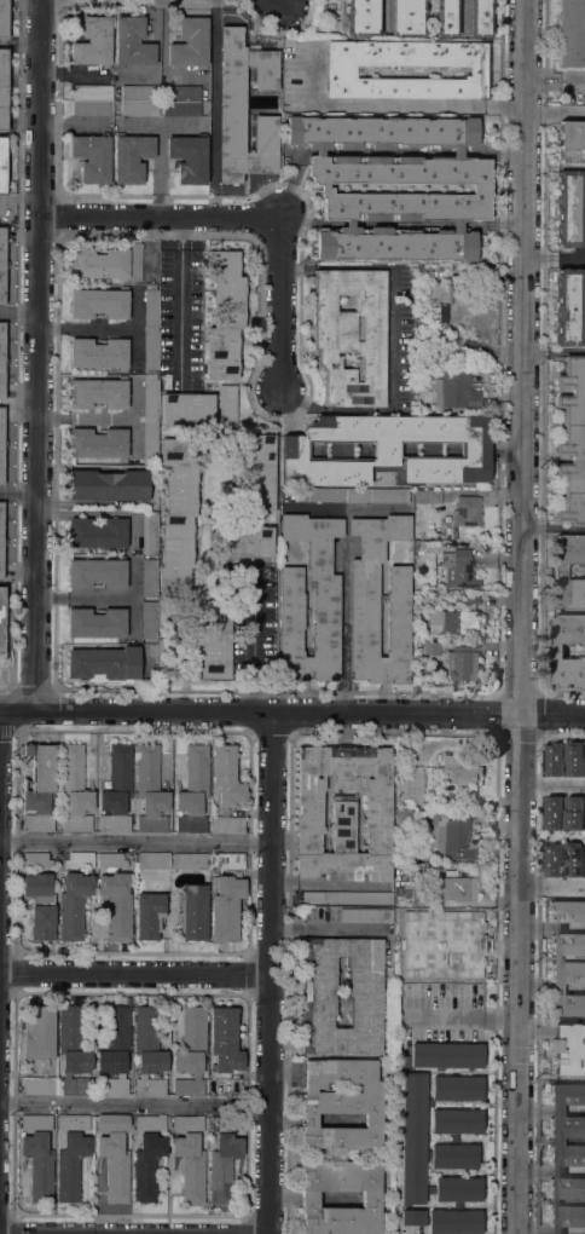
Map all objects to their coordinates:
road: (279, 0)
building: (584, 5)
building: (361, 17)
building: (4, 18)
building: (407, 18)
building: (446, 18)
building: (480, 18)
building: (569, 33)
building: (93, 42)
building: (132, 42)
building: (189, 42)
building: (341, 73)
road: (554, 83)
building: (4, 90)
building: (92, 99)
building: (139, 100)
building: (180, 100)
building: (232, 103)
road: (389, 104)
building: (572, 142)
building: (91, 157)
building: (129, 157)
building: (189, 157)
building: (2, 165)
building: (481, 190)
building: (569, 208)
road: (162, 218)
road: (552, 258)
building: (108, 263)
building: (1, 264)
building: (423, 272)
building: (438, 301)
building: (99, 304)
road: (283, 304)
building: (568, 307)
building: (224, 315)
road: (87, 328)
building: (349, 335)
road: (17, 350)
building: (98, 353)
road: (40, 354)
building: (1, 359)
building: (150, 371)
building: (454, 391)
building: (98, 393)
building: (227, 404)
building: (186, 409)
road: (71, 419)
building: (572, 442)
building: (97, 444)
building: (1, 445)
building: (389, 450)
building: (257, 473)
building: (108, 485)
building: (320, 495)
building: (428, 495)
building: (376, 496)
road: (376, 508)
building: (467, 511)
building: (176, 514)
building: (149, 531)
building: (97, 534)
building: (0, 536)
building: (245, 542)
building: (458, 569)
building: (97, 573)
building: (149, 577)
road: (343, 579)
building: (568, 610)
building: (325, 612)
road: (521, 617)
building: (1, 619)
building: (147, 619)
building: (454, 619)
building: (95, 623)
building: (363, 625)
building: (214, 639)
building: (446, 645)
building: (467, 645)
building: (430, 648)
road: (253, 655)
building: (104, 665)
building: (462, 665)
building: (448, 688)
road: (291, 713)
road: (0, 743)
building: (575, 757)
building: (554, 759)
building: (458, 771)
building: (226, 777)
road: (552, 782)
building: (411, 785)
building: (39, 788)
building: (74, 789)
building: (116, 790)
building: (150, 790)
building: (192, 790)
building: (401, 812)
building: (421, 813)
building: (552, 813)
building: (573, 813)
building: (343, 814)
building: (227, 825)
building: (454, 840)
road: (135, 842)
building: (584, 843)
building: (36, 859)
building: (552, 859)
building: (574, 859)
building: (79, 860)
building: (111, 860)
building: (152, 860)
building: (190, 861)
building: (225, 863)
road: (551, 882)
building: (458, 888)
building: (416, 894)
building: (347, 899)
building: (40, 905)
building: (73, 905)
building: (116, 906)
building: (225, 907)
building: (192, 912)
building: (366, 915)
building: (149, 916)
building: (451, 928)
building: (556, 958)
road: (538, 962)
road: (271, 973)
road: (135, 976)
building: (318, 1005)
road: (463, 1016)
building: (37, 1033)
building: (224, 1040)
building: (568, 1049)
building: (115, 1051)
building: (147, 1051)
building: (191, 1051)
building: (71, 1053)
building: (37, 1086)
building: (341, 1103)
road: (134, 1105)
building: (412, 1138)
building: (37, 1155)
building: (114, 1155)
building: (71, 1157)
building: (147, 1157)
building: (190, 1157)
building: (224, 1158)
building: (566, 1158)
building: (308, 1200)

